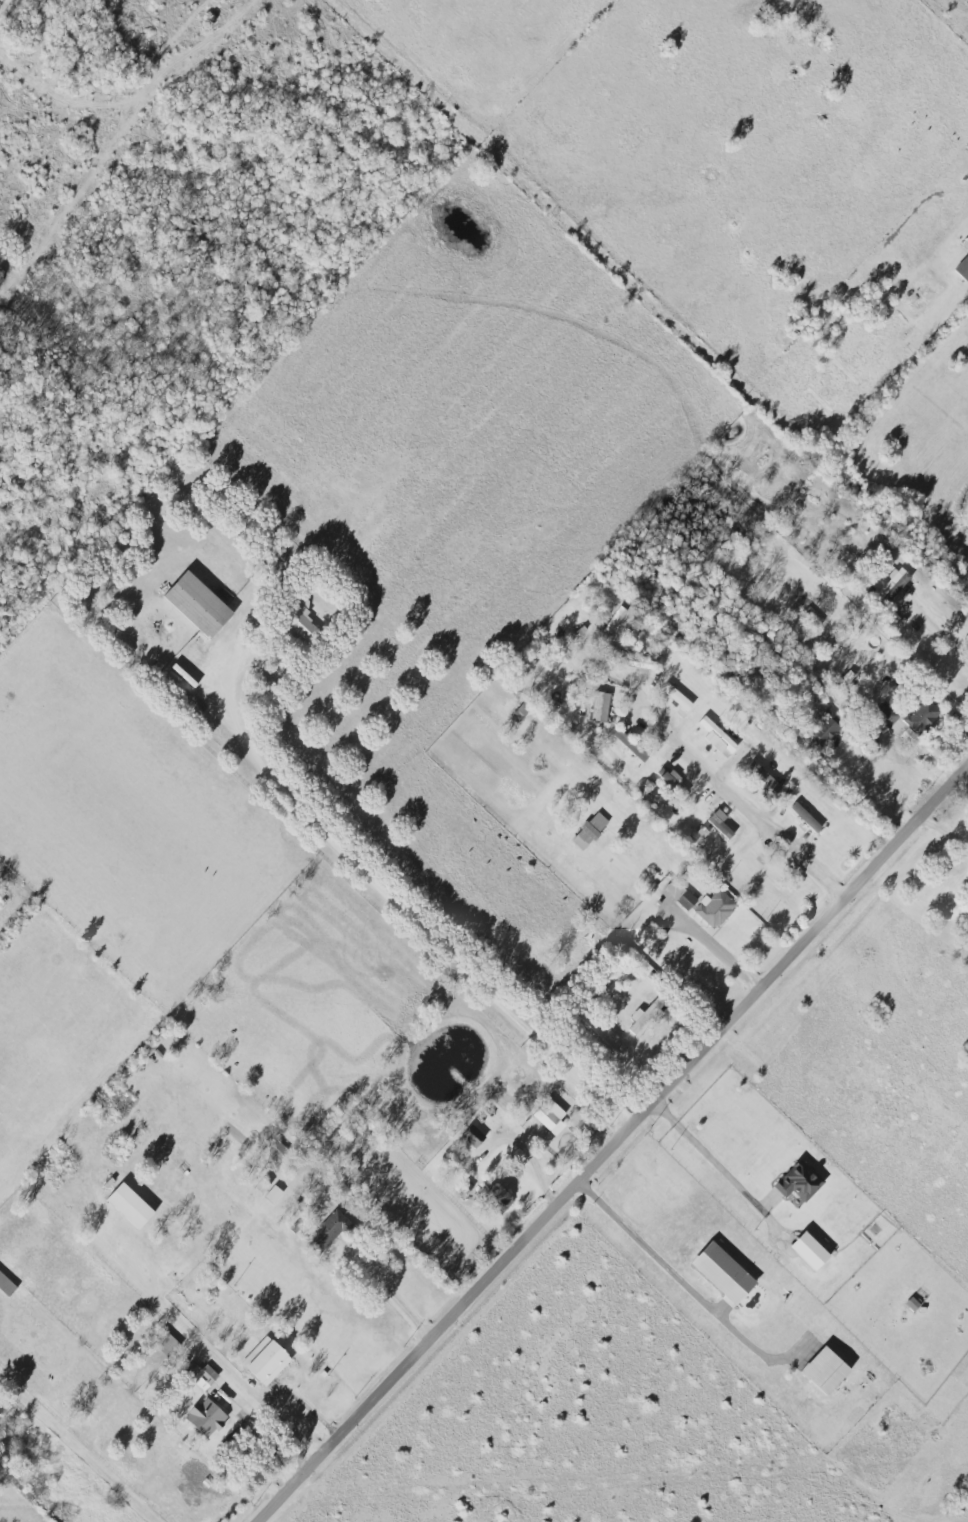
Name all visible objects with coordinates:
building: (963, 268)
road: (738, 369)
building: (896, 585)
building: (198, 604)
building: (302, 622)
road: (945, 637)
building: (677, 696)
building: (601, 707)
building: (907, 719)
building: (826, 730)
building: (720, 740)
building: (629, 744)
building: (763, 777)
building: (671, 779)
road: (879, 791)
road: (742, 799)
building: (806, 817)
building: (720, 823)
building: (592, 828)
building: (680, 895)
building: (715, 908)
road: (410, 911)
road: (719, 945)
building: (597, 1032)
building: (550, 1116)
building: (473, 1135)
road: (613, 1145)
road: (711, 1153)
road: (529, 1156)
building: (800, 1181)
building: (262, 1185)
building: (274, 1193)
building: (499, 1198)
building: (130, 1205)
building: (329, 1229)
building: (810, 1250)
road: (661, 1265)
building: (723, 1272)
building: (6, 1285)
road: (396, 1300)
building: (912, 1304)
building: (168, 1341)
road: (227, 1361)
building: (826, 1370)
building: (205, 1376)
building: (207, 1416)
road: (88, 1455)

